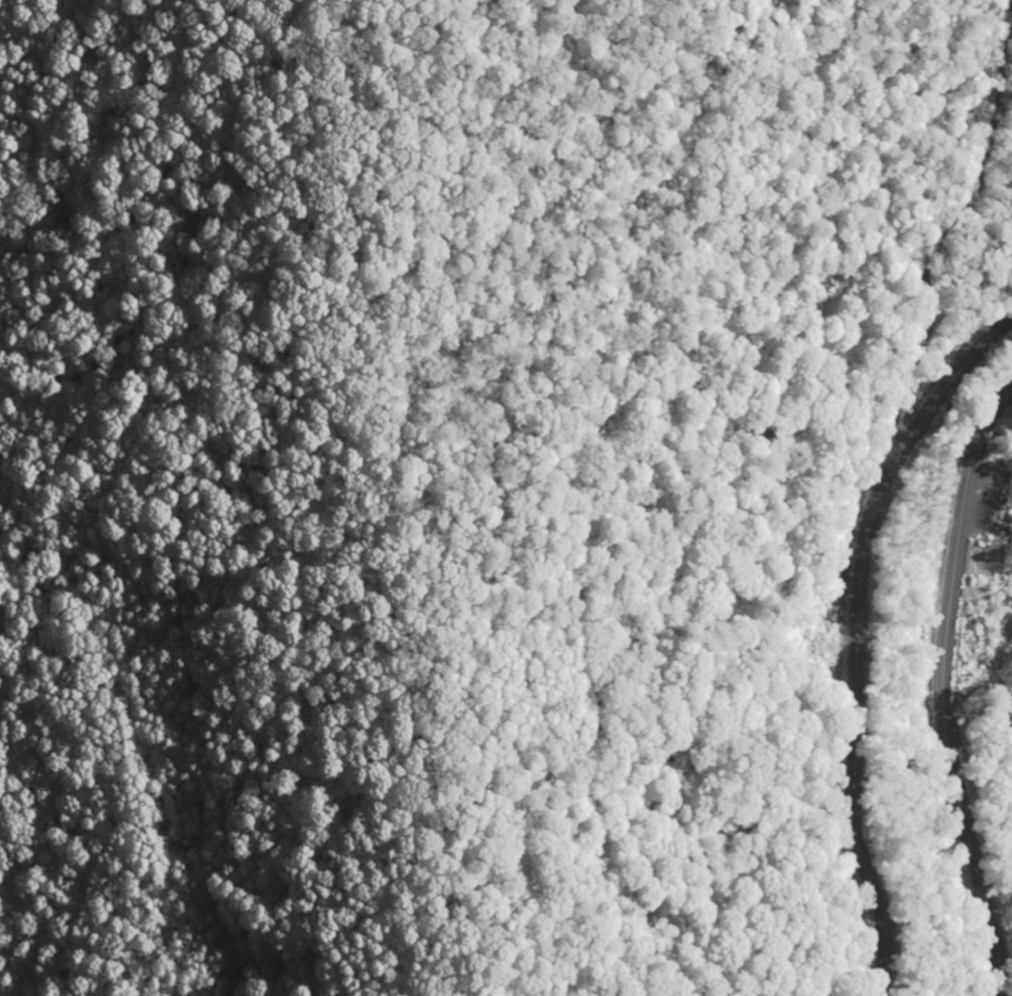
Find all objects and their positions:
road: (984, 164)
road: (856, 632)
road: (941, 689)

